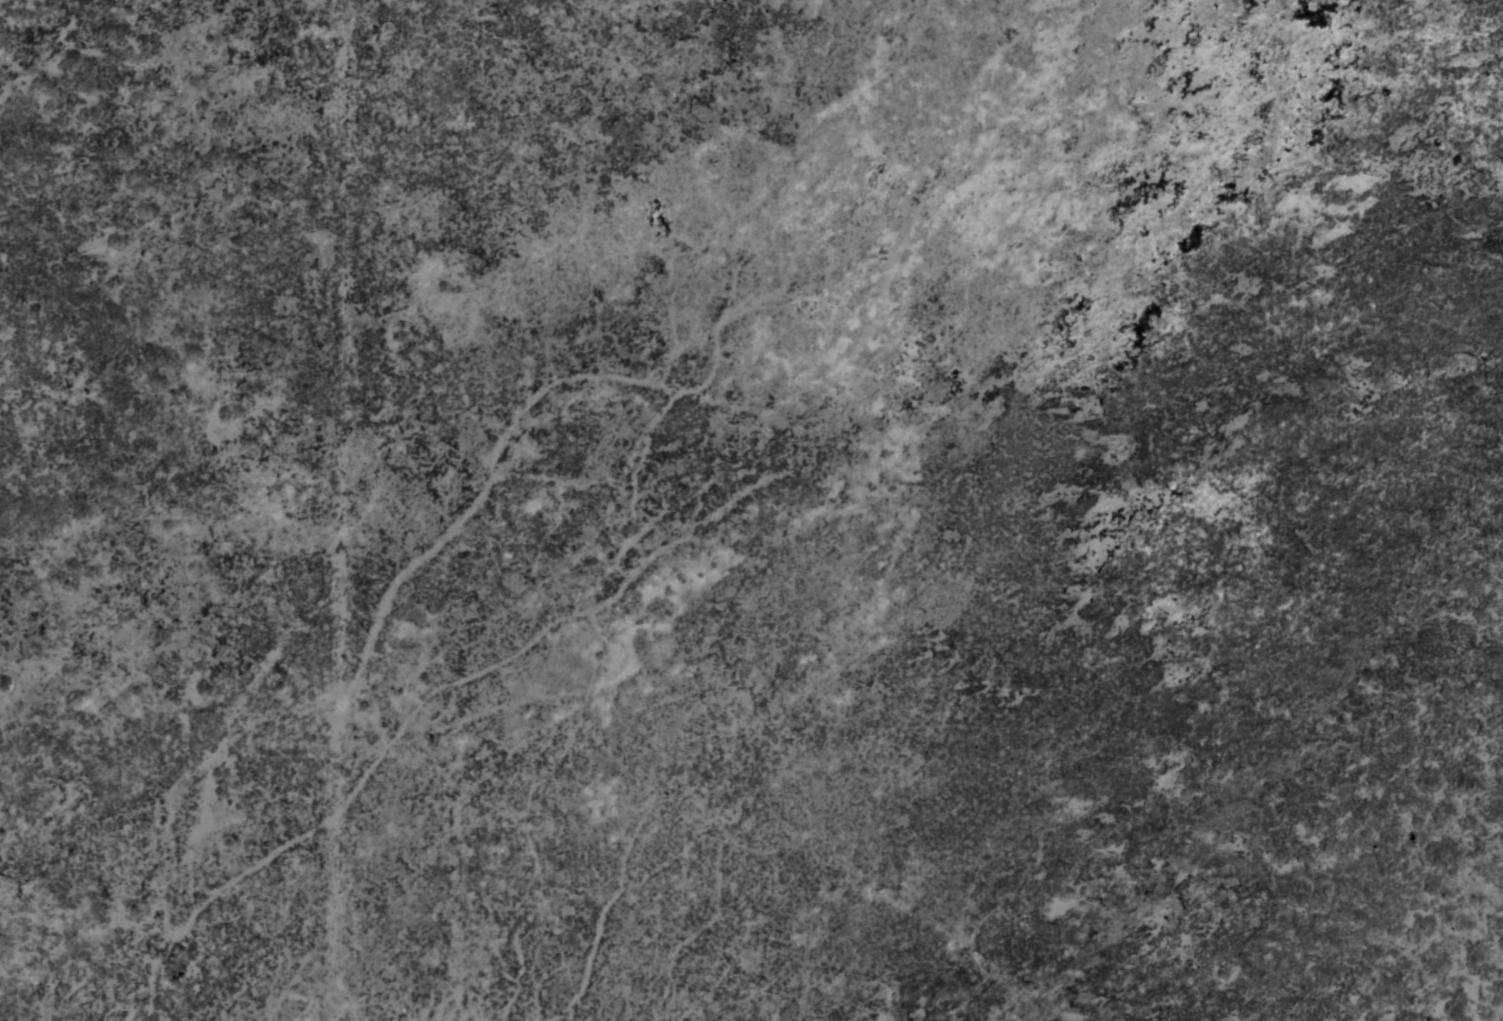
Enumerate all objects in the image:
road: (4, 6)

